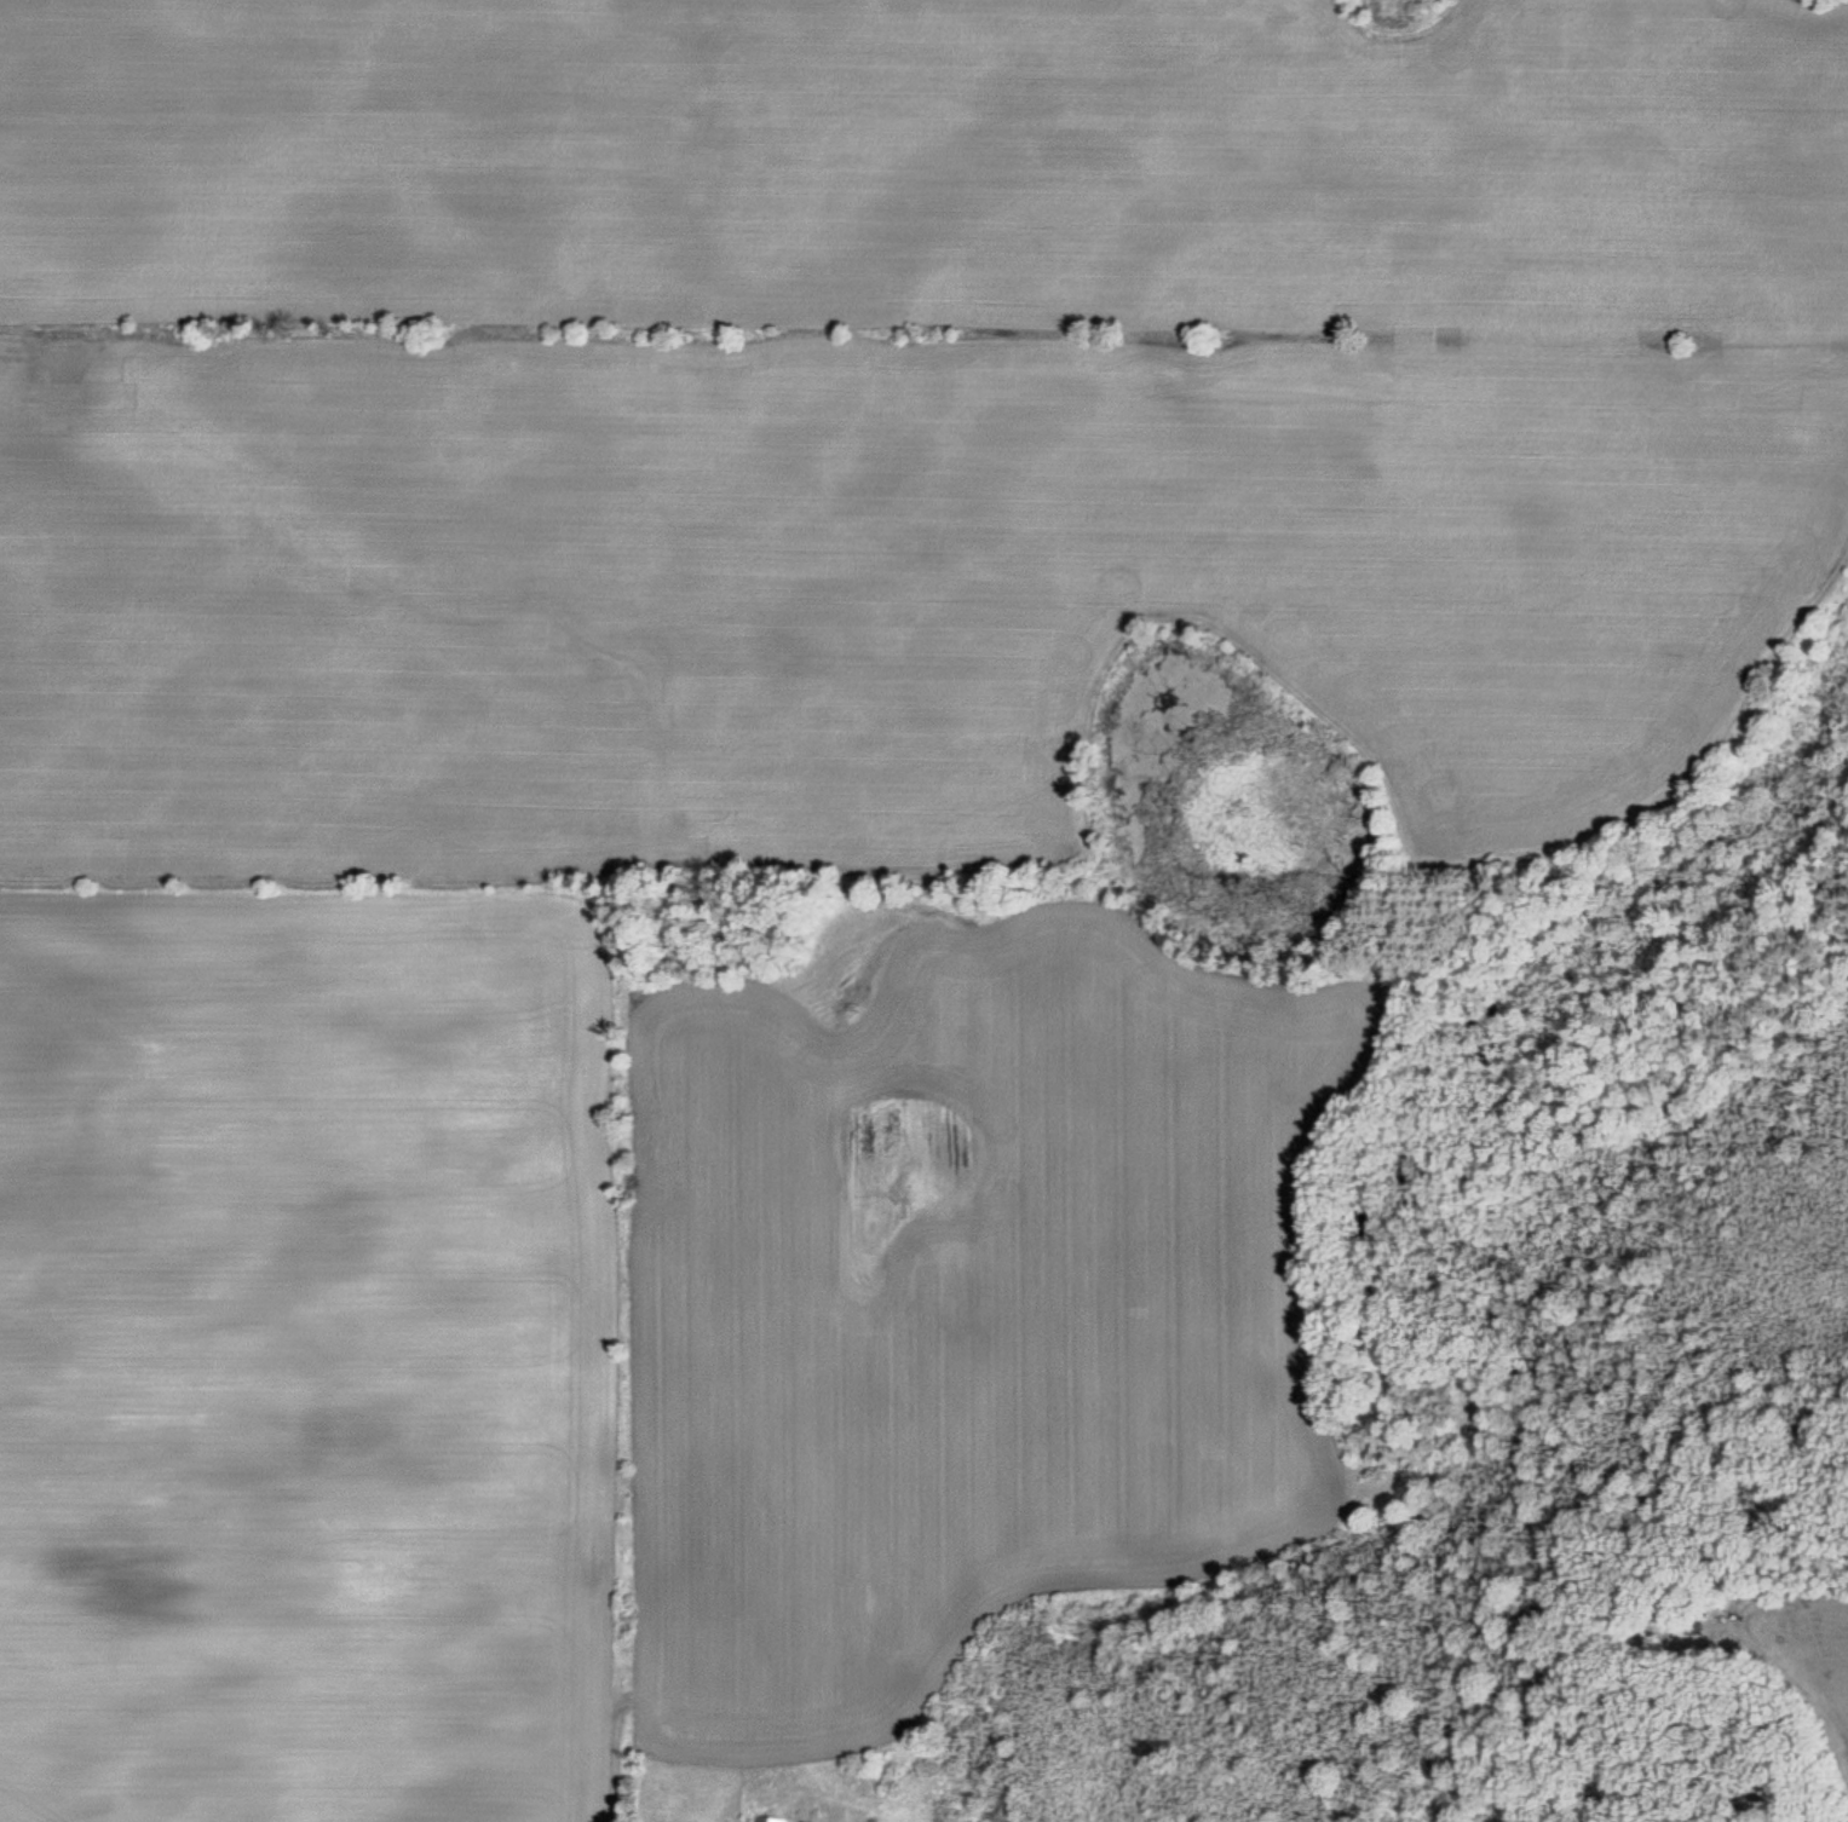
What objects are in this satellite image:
building: (1696, 1627)
building: (768, 1818)

